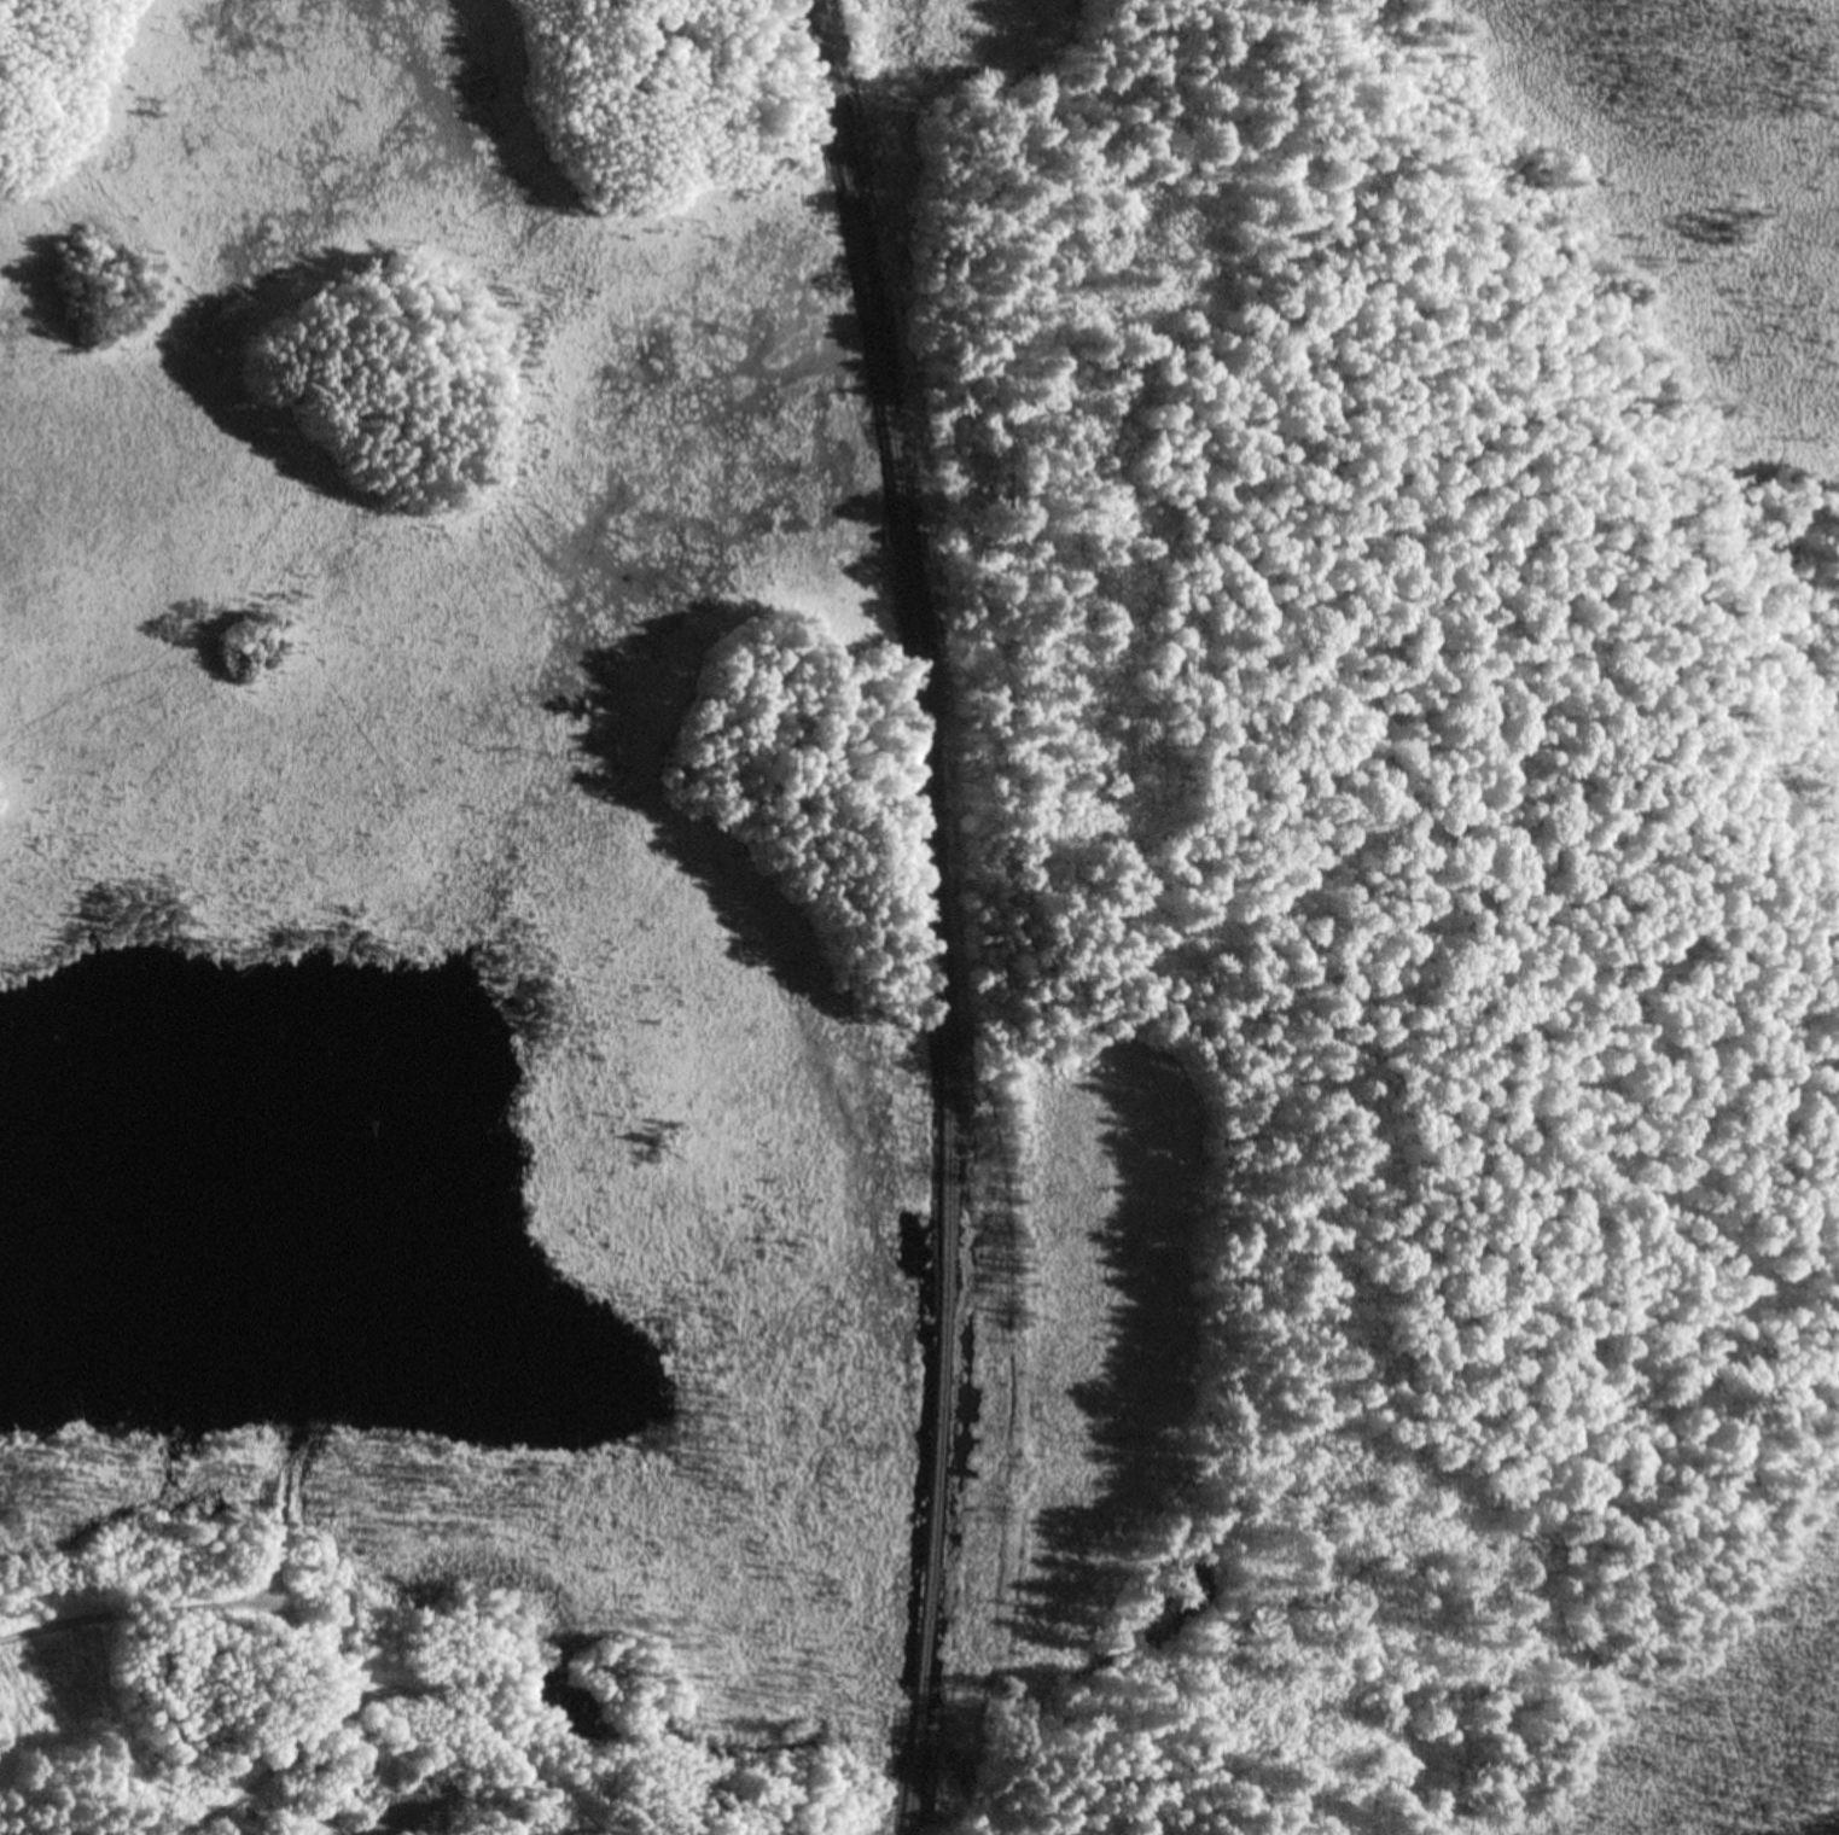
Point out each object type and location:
railway: (939, 913)
road: (199, 1606)

